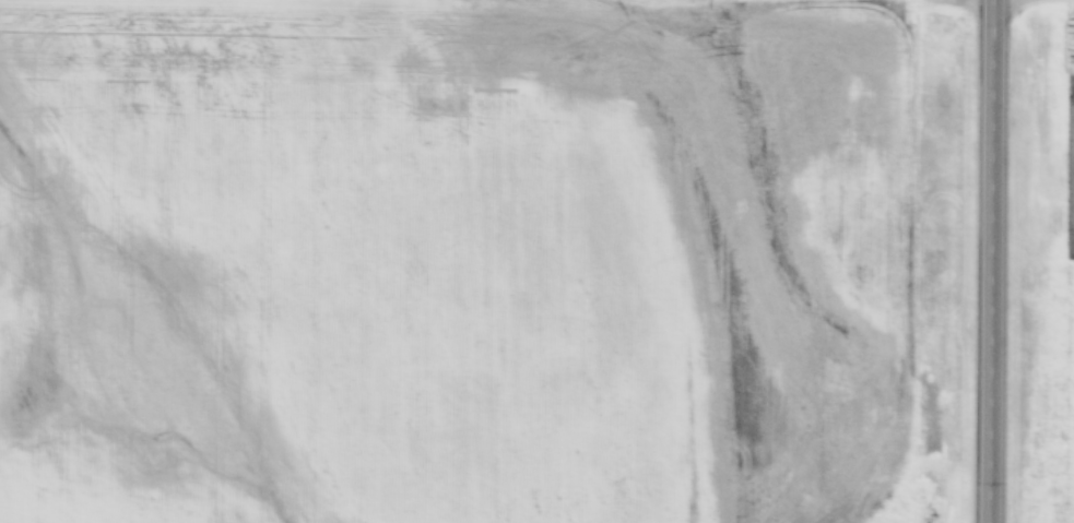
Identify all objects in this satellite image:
road: (984, 261)

